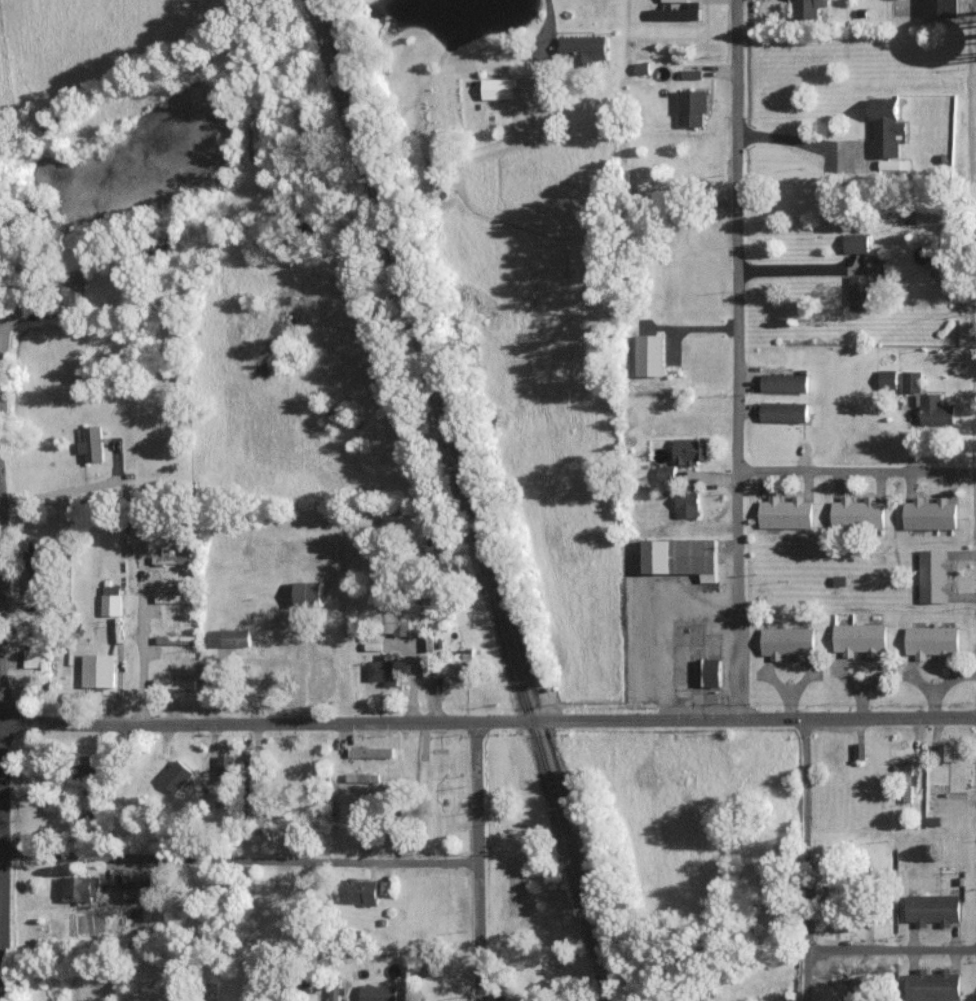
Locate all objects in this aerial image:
building: (675, 1)
building: (808, 8)
building: (941, 8)
building: (675, 14)
road: (549, 18)
building: (583, 48)
building: (642, 68)
building: (691, 74)
building: (498, 88)
building: (692, 107)
building: (887, 127)
building: (893, 164)
building: (856, 243)
building: (72, 286)
building: (867, 287)
road: (3, 312)
building: (650, 355)
road: (739, 360)
building: (887, 378)
building: (911, 381)
building: (784, 382)
road: (7, 386)
building: (936, 411)
building: (783, 412)
building: (92, 444)
building: (691, 451)
road: (4, 459)
building: (666, 472)
road: (858, 472)
railway: (470, 500)
building: (687, 505)
building: (786, 513)
building: (858, 513)
building: (930, 514)
building: (681, 557)
building: (171, 559)
building: (934, 576)
building: (308, 593)
building: (174, 598)
building: (111, 600)
building: (394, 623)
building: (229, 638)
building: (860, 638)
building: (175, 639)
building: (787, 642)
building: (933, 642)
building: (427, 643)
building: (373, 645)
road: (143, 646)
building: (302, 646)
building: (465, 654)
building: (37, 659)
building: (384, 669)
building: (98, 670)
building: (712, 673)
building: (319, 676)
building: (174, 683)
building: (301, 688)
road: (488, 722)
road: (12, 730)
building: (859, 750)
building: (947, 751)
building: (371, 752)
building: (225, 765)
building: (85, 767)
building: (176, 776)
building: (362, 777)
building: (908, 782)
building: (261, 825)
road: (250, 856)
road: (806, 859)
road: (502, 861)
building: (80, 887)
building: (385, 887)
building: (135, 890)
building: (359, 891)
building: (933, 908)
road: (892, 948)
building: (933, 985)
building: (858, 989)
building: (335, 993)
building: (377, 993)

